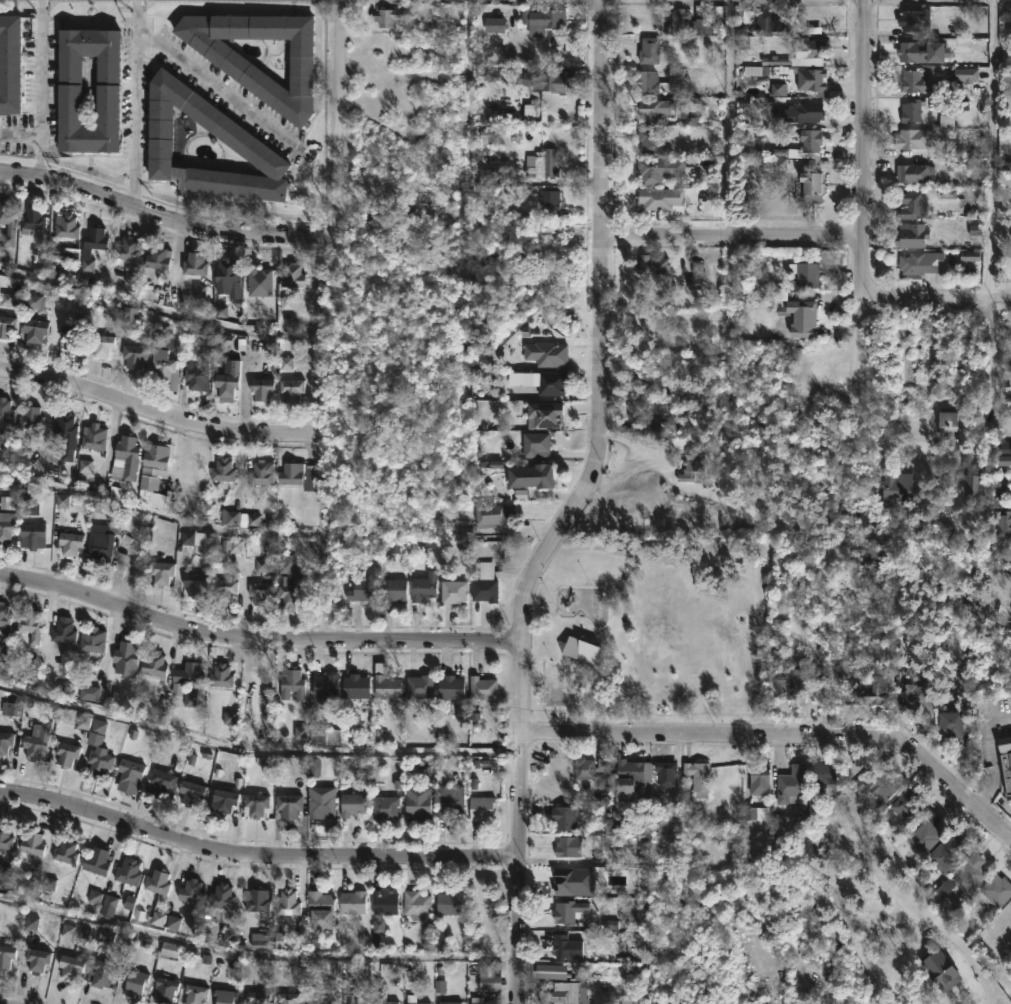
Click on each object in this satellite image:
building: (391, 14)
building: (544, 17)
building: (915, 18)
building: (683, 19)
building: (771, 21)
building: (495, 26)
building: (649, 50)
building: (924, 51)
building: (802, 54)
building: (11, 62)
building: (495, 69)
road: (337, 73)
building: (254, 78)
building: (545, 79)
building: (647, 81)
building: (812, 81)
building: (928, 82)
road: (217, 85)
road: (40, 88)
building: (68, 89)
road: (135, 104)
building: (654, 109)
building: (914, 109)
building: (802, 111)
road: (733, 116)
building: (231, 134)
building: (490, 135)
road: (20, 136)
building: (916, 137)
building: (651, 140)
building: (808, 142)
road: (995, 148)
building: (543, 163)
building: (659, 169)
building: (915, 172)
building: (491, 175)
building: (813, 185)
road: (861, 196)
building: (660, 197)
building: (549, 199)
building: (912, 205)
road: (158, 216)
building: (33, 218)
building: (7, 223)
building: (65, 225)
road: (730, 232)
building: (912, 234)
building: (92, 245)
building: (129, 248)
building: (158, 257)
building: (920, 262)
building: (195, 263)
building: (652, 264)
building: (227, 271)
building: (805, 274)
building: (292, 275)
building: (258, 280)
road: (937, 297)
road: (158, 313)
building: (802, 316)
building: (6, 326)
road: (601, 330)
building: (34, 331)
building: (71, 335)
building: (102, 344)
building: (546, 353)
building: (133, 354)
building: (163, 363)
building: (197, 377)
building: (227, 381)
building: (551, 382)
building: (292, 388)
building: (261, 390)
building: (5, 410)
road: (155, 412)
building: (545, 413)
building: (659, 416)
building: (30, 417)
building: (949, 426)
building: (68, 434)
road: (895, 435)
building: (94, 437)
building: (535, 443)
building: (158, 455)
building: (125, 457)
building: (691, 464)
building: (222, 470)
building: (261, 472)
building: (1010, 473)
building: (301, 474)
building: (532, 475)
building: (150, 480)
building: (973, 484)
building: (898, 487)
building: (166, 503)
building: (493, 515)
building: (633, 515)
building: (1004, 523)
building: (8, 526)
building: (31, 534)
road: (274, 534)
building: (103, 535)
building: (69, 543)
building: (288, 563)
building: (161, 572)
building: (971, 574)
building: (485, 581)
building: (195, 584)
building: (362, 588)
building: (425, 588)
building: (394, 589)
building: (225, 590)
building: (454, 591)
building: (291, 592)
building: (259, 593)
park: (651, 614)
building: (4, 619)
building: (30, 625)
building: (62, 633)
building: (92, 639)
road: (256, 639)
building: (584, 652)
building: (125, 660)
building: (154, 663)
building: (188, 673)
building: (220, 675)
building: (791, 680)
building: (292, 683)
building: (386, 683)
building: (420, 685)
building: (356, 686)
building: (452, 686)
building: (260, 687)
building: (325, 687)
building: (483, 687)
building: (867, 694)
building: (917, 696)
building: (13, 710)
building: (951, 724)
building: (326, 736)
road: (782, 738)
building: (6, 741)
building: (38, 742)
building: (98, 751)
road: (255, 751)
building: (66, 753)
road: (993, 753)
building: (1006, 761)
building: (593, 770)
building: (666, 772)
building: (824, 773)
building: (130, 774)
building: (761, 775)
building: (699, 776)
building: (628, 778)
building: (160, 779)
building: (792, 782)
building: (877, 786)
building: (191, 789)
building: (224, 799)
building: (450, 802)
building: (255, 803)
building: (418, 803)
building: (320, 804)
building: (353, 804)
building: (288, 805)
building: (386, 806)
building: (908, 806)
building: (481, 807)
building: (565, 816)
road: (519, 823)
building: (926, 832)
building: (5, 836)
building: (32, 841)
building: (567, 845)
building: (66, 849)
building: (946, 853)
road: (255, 854)
building: (95, 860)
building: (128, 870)
building: (964, 877)
building: (158, 881)
building: (997, 889)
building: (191, 890)
building: (221, 895)
building: (258, 898)
building: (288, 901)
building: (353, 901)
building: (482, 901)
building: (385, 902)
building: (450, 902)
building: (417, 904)
building: (320, 908)
building: (568, 910)
building: (566, 945)
building: (171, 950)
building: (6, 953)
road: (256, 954)
building: (37, 958)
road: (973, 960)
building: (70, 966)
building: (939, 966)
building: (102, 972)
building: (489, 977)
building: (134, 982)
building: (164, 989)
building: (567, 992)
building: (194, 993)
building: (636, 993)
building: (224, 996)
building: (288, 996)
building: (258, 997)
building: (316, 997)
building: (355, 998)
building: (384, 999)
building: (478, 1000)
building: (814, 1000)
building: (417, 1002)
building: (449, 1002)

